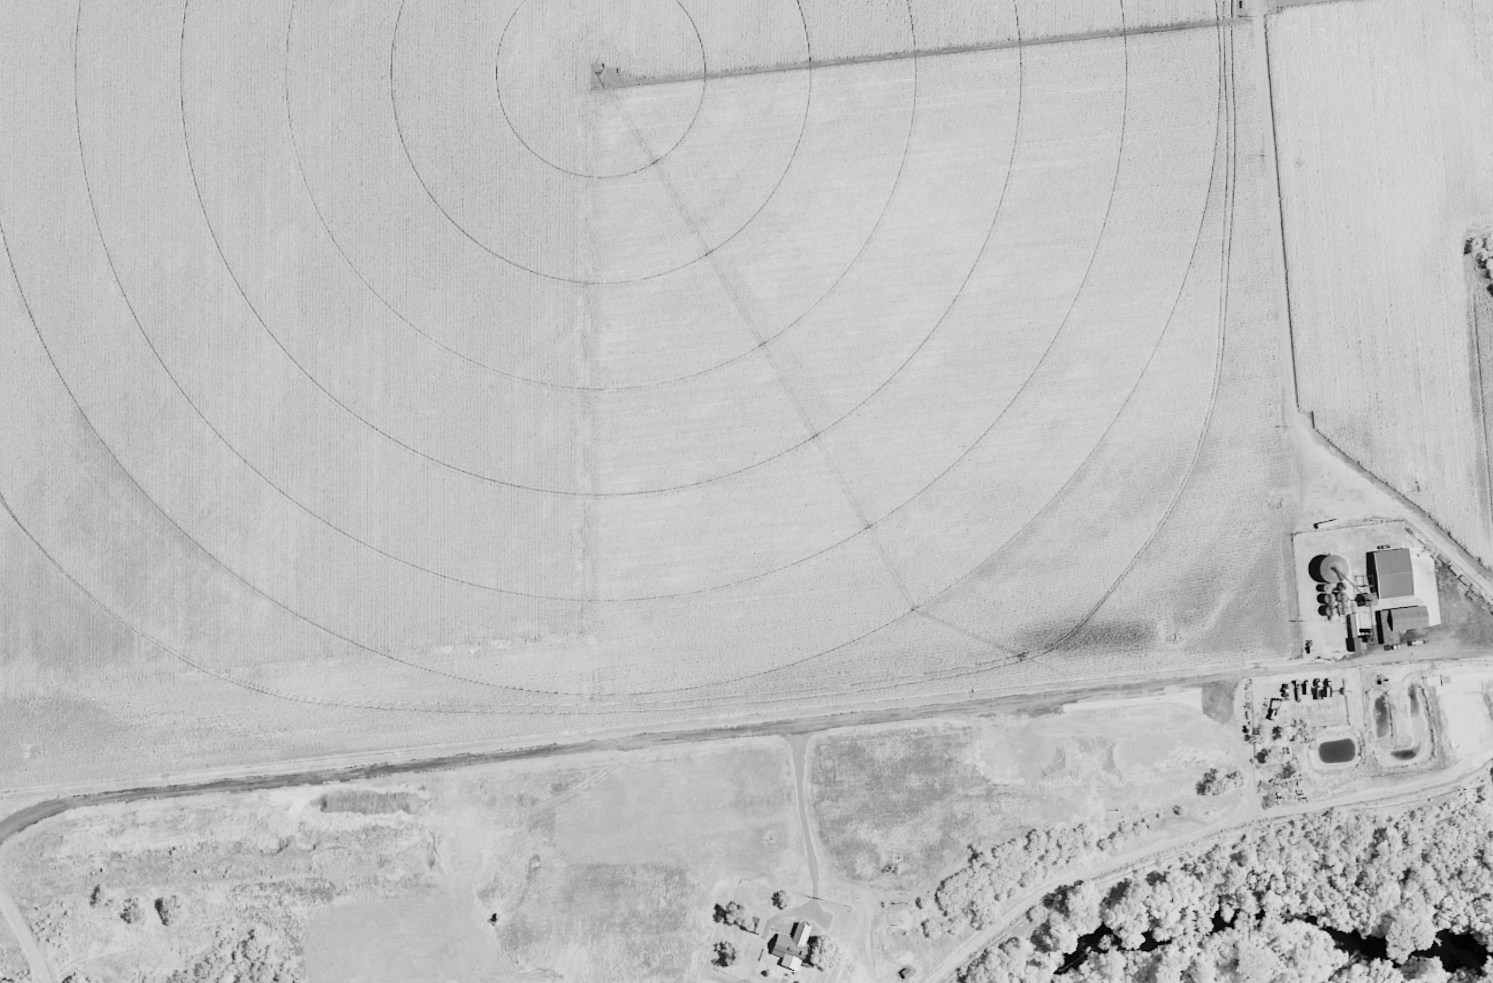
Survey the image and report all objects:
road: (1293, 339)
road: (1395, 358)
building: (1397, 620)
building: (1353, 631)
road: (742, 731)
road: (1246, 749)
road: (805, 809)
road: (1188, 839)
road: (209, 890)
river: (1258, 912)
building: (755, 925)
road: (24, 940)
building: (789, 951)

